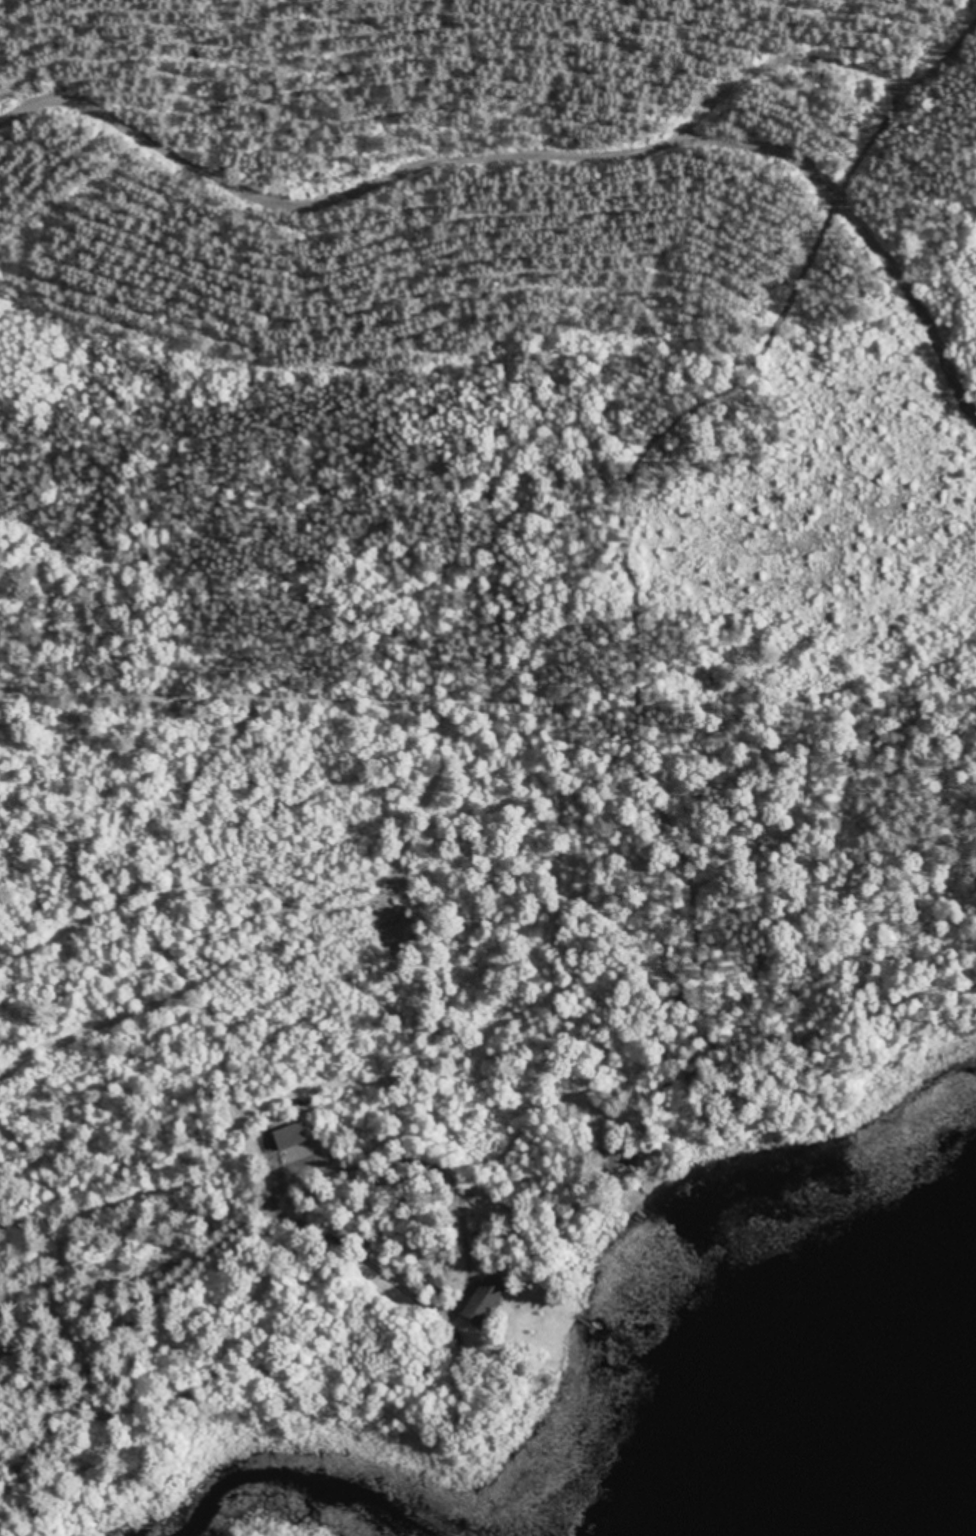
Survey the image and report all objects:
road: (732, 904)
road: (862, 980)
building: (296, 1134)
building: (623, 1158)
building: (490, 1299)

